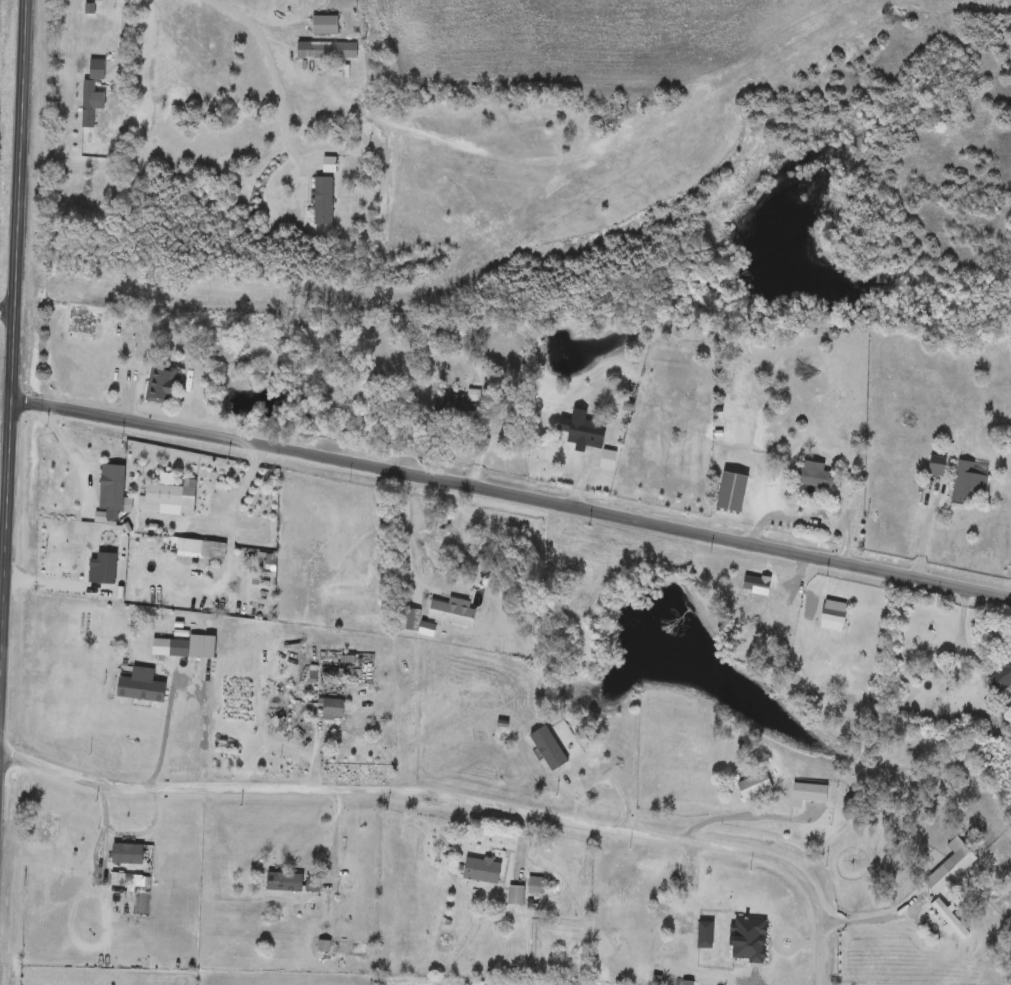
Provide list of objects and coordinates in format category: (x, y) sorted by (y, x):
building: (325, 24)
road: (122, 35)
building: (326, 50)
road: (275, 62)
building: (91, 91)
road: (10, 297)
road: (5, 309)
building: (464, 338)
building: (162, 384)
road: (3, 430)
building: (585, 431)
road: (63, 438)
building: (608, 461)
building: (937, 466)
building: (815, 476)
building: (969, 480)
road: (246, 481)
building: (115, 486)
road: (509, 491)
building: (160, 497)
road: (405, 530)
building: (453, 611)
building: (171, 647)
building: (1000, 678)
building: (141, 686)
building: (333, 710)
building: (574, 766)
building: (755, 786)
building: (808, 794)
road: (456, 796)
road: (725, 815)
building: (134, 854)
building: (483, 870)
building: (939, 879)
building: (284, 882)
building: (535, 885)
building: (516, 895)
building: (949, 919)
road: (862, 920)
building: (687, 924)
building: (750, 940)

